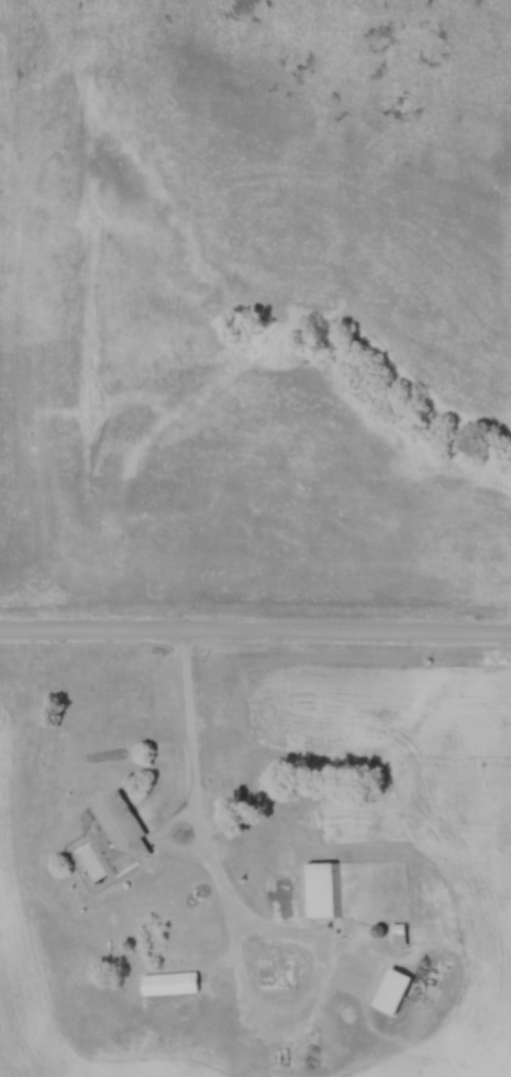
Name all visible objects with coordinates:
road: (255, 641)
crop: (412, 811)
road: (200, 823)
building: (125, 831)
crop: (11, 855)
building: (323, 891)
building: (174, 985)

